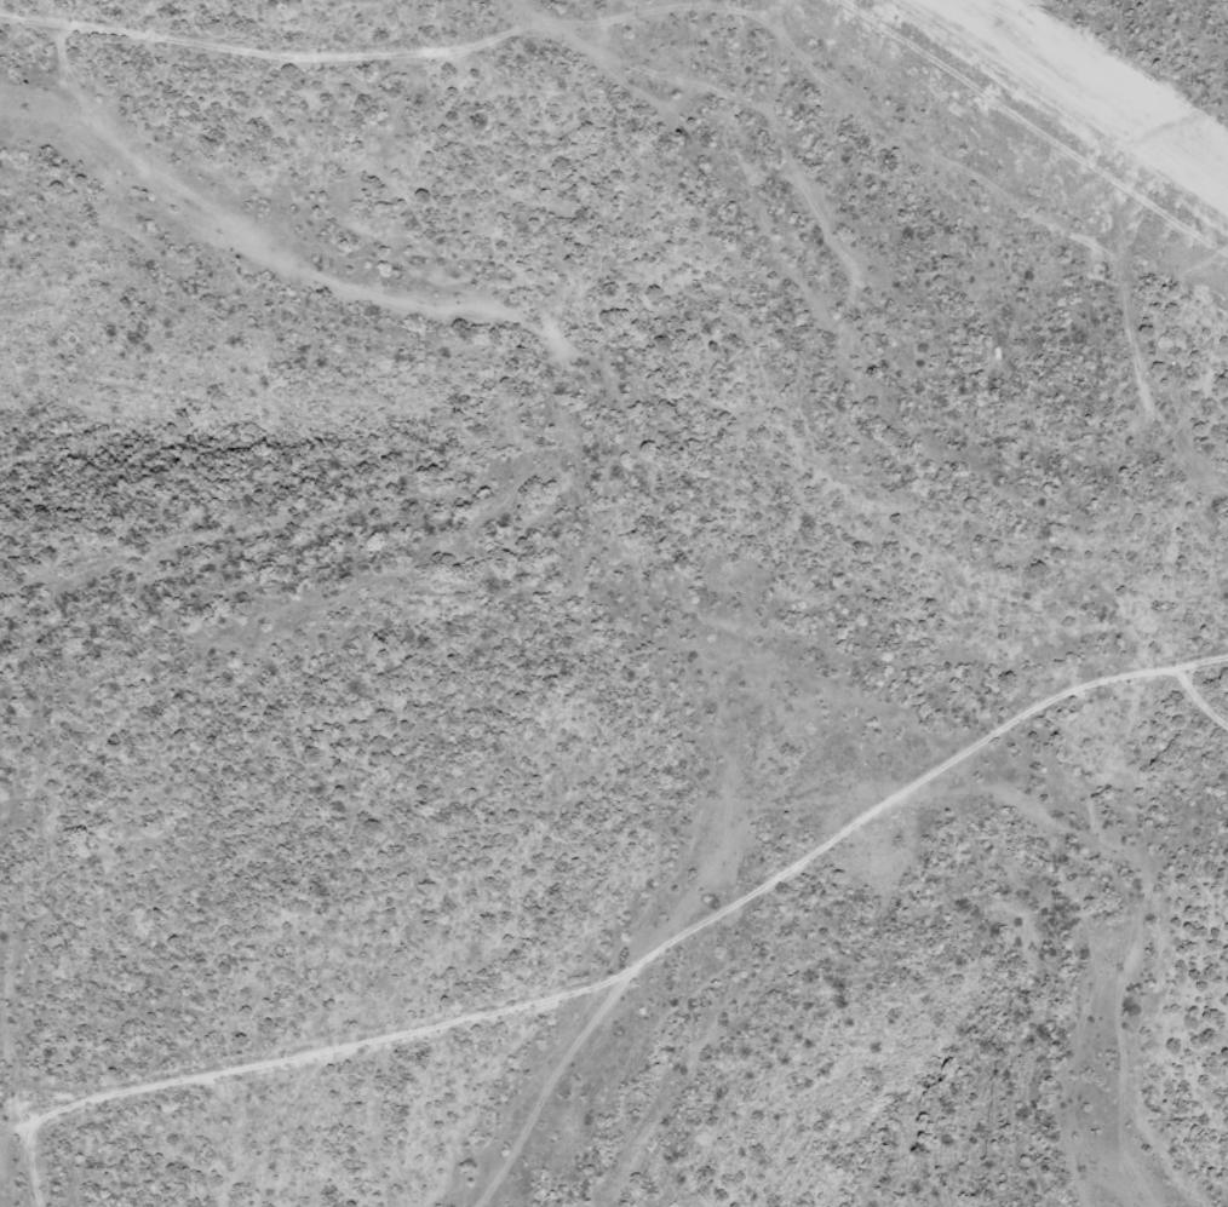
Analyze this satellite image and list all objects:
road: (725, 18)

